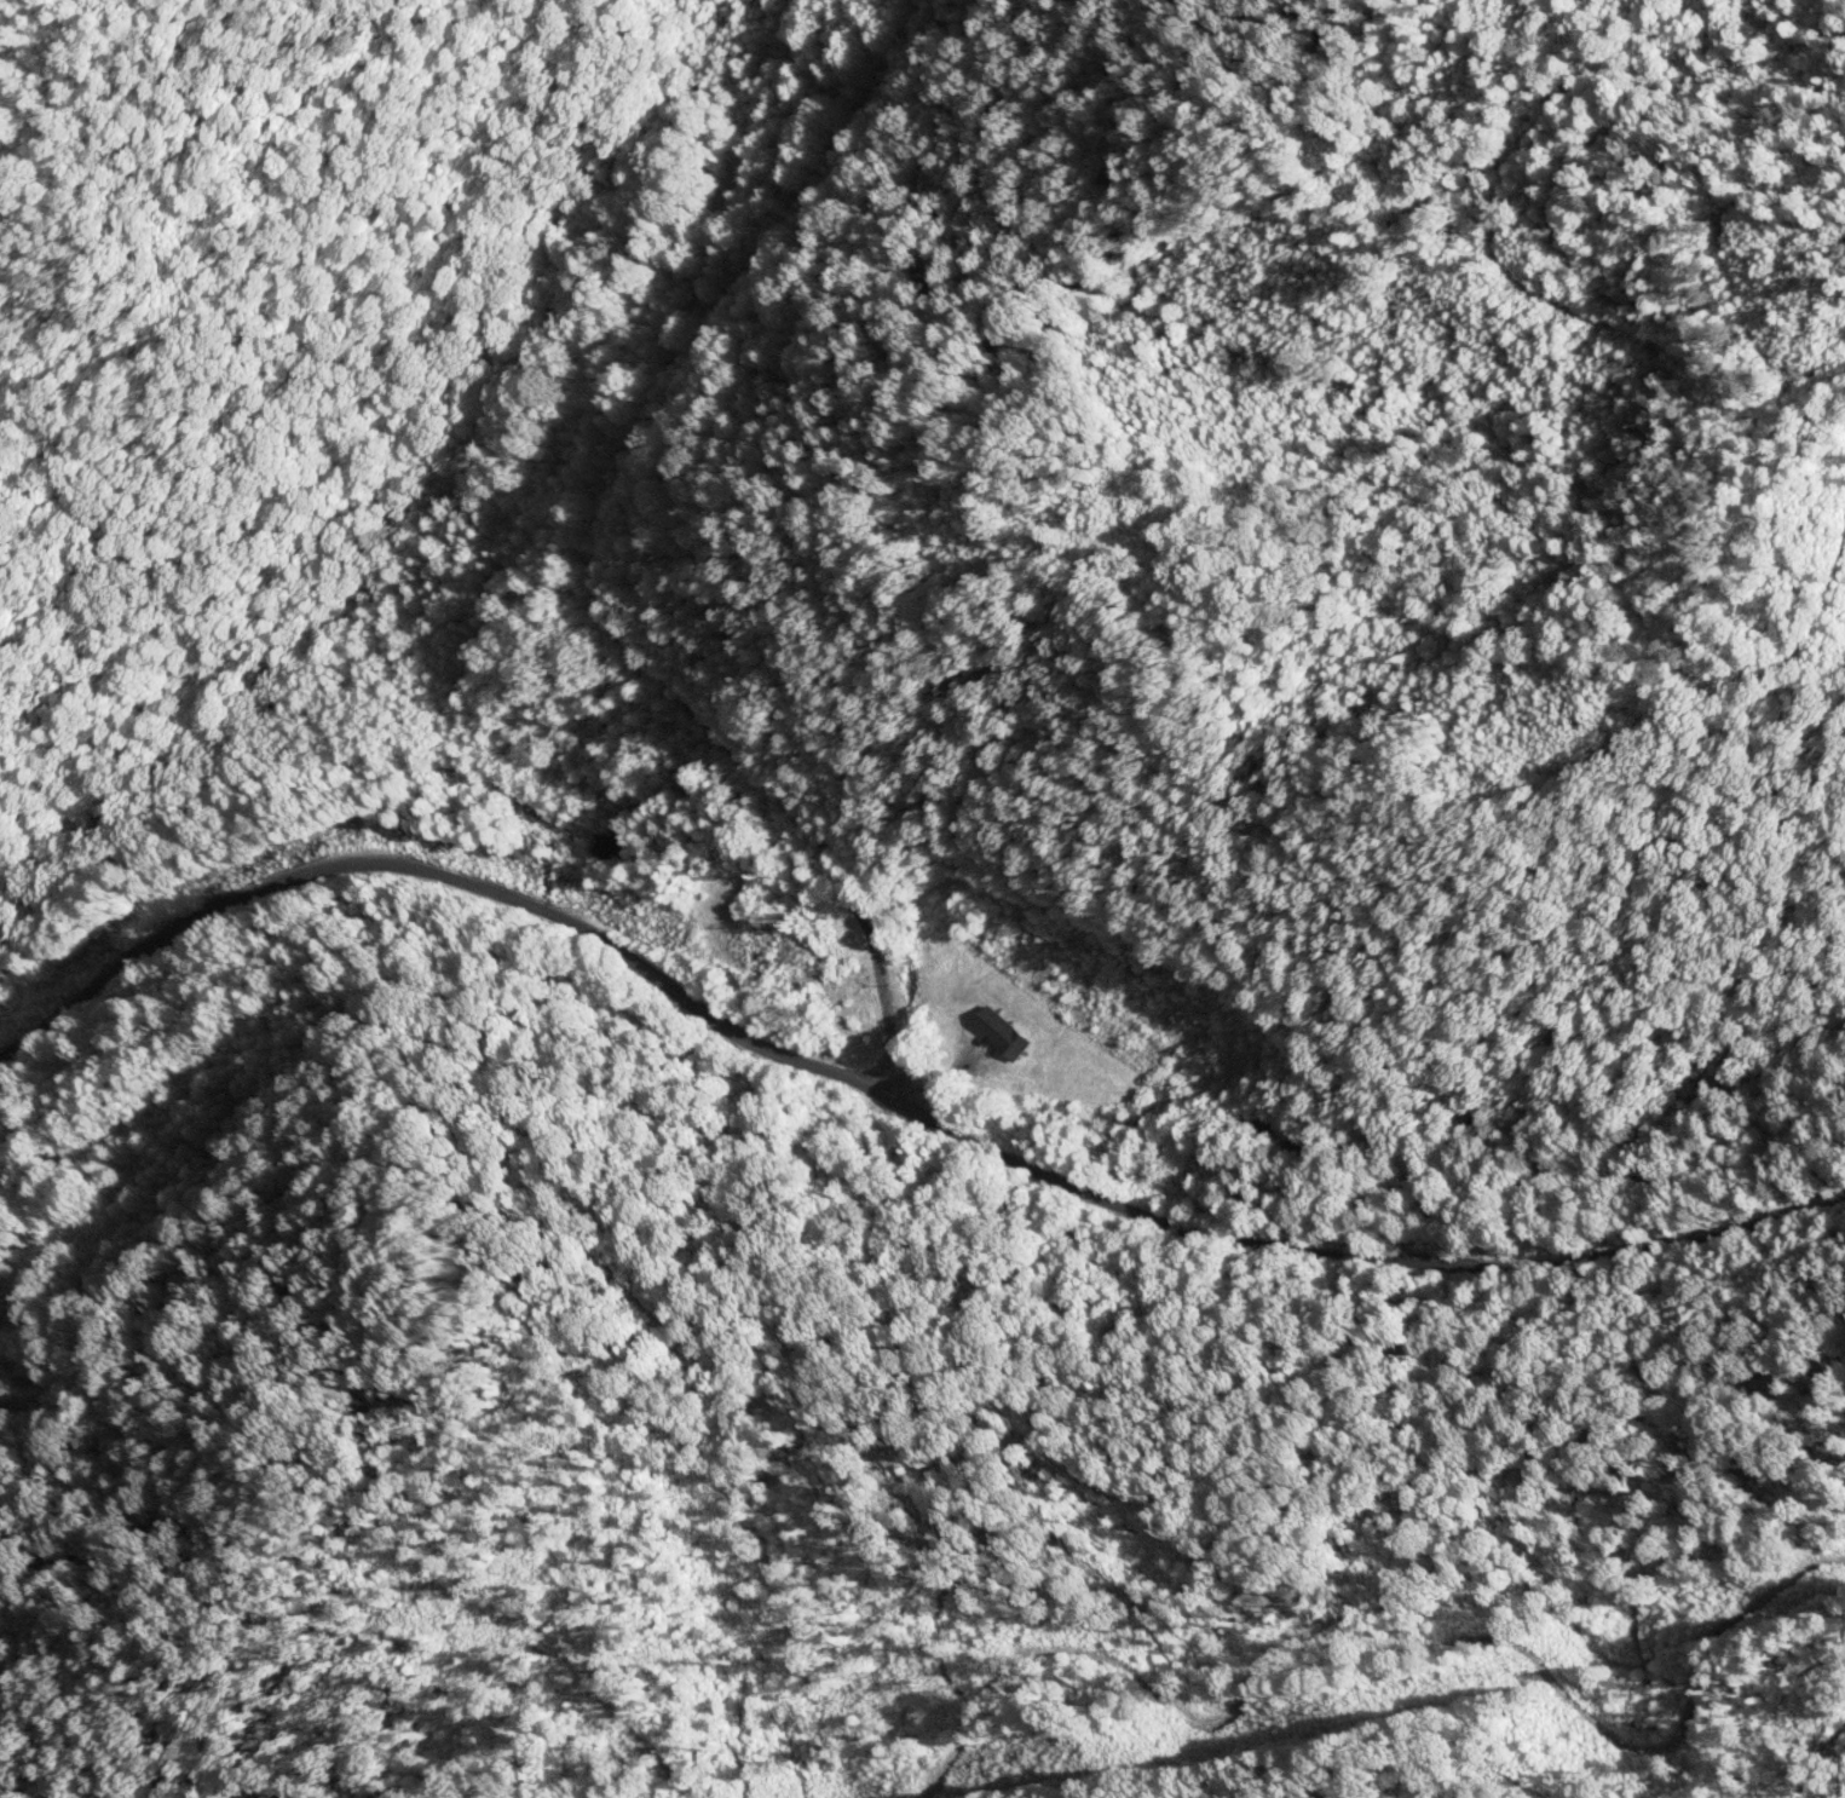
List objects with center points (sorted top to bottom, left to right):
road: (1722, 653)
building: (1002, 1033)
road: (899, 1061)

